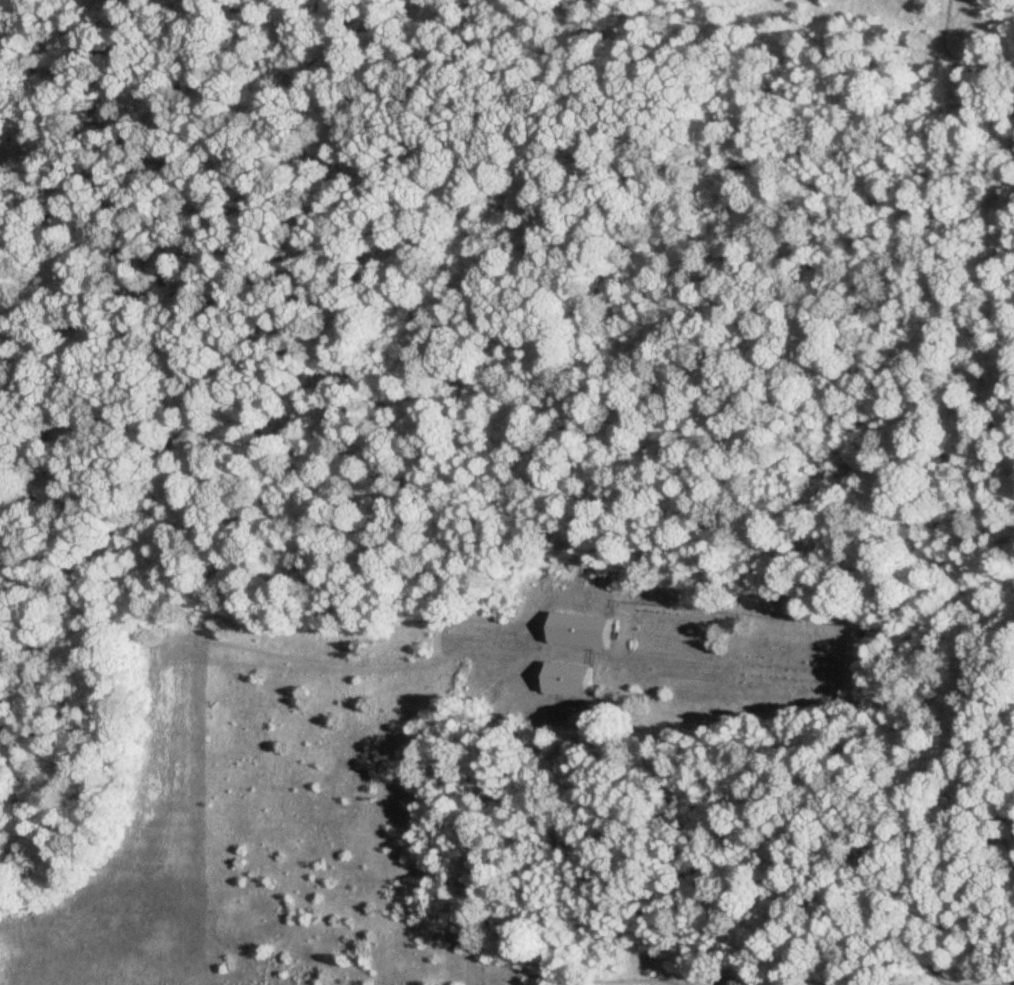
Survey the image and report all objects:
building: (563, 678)

